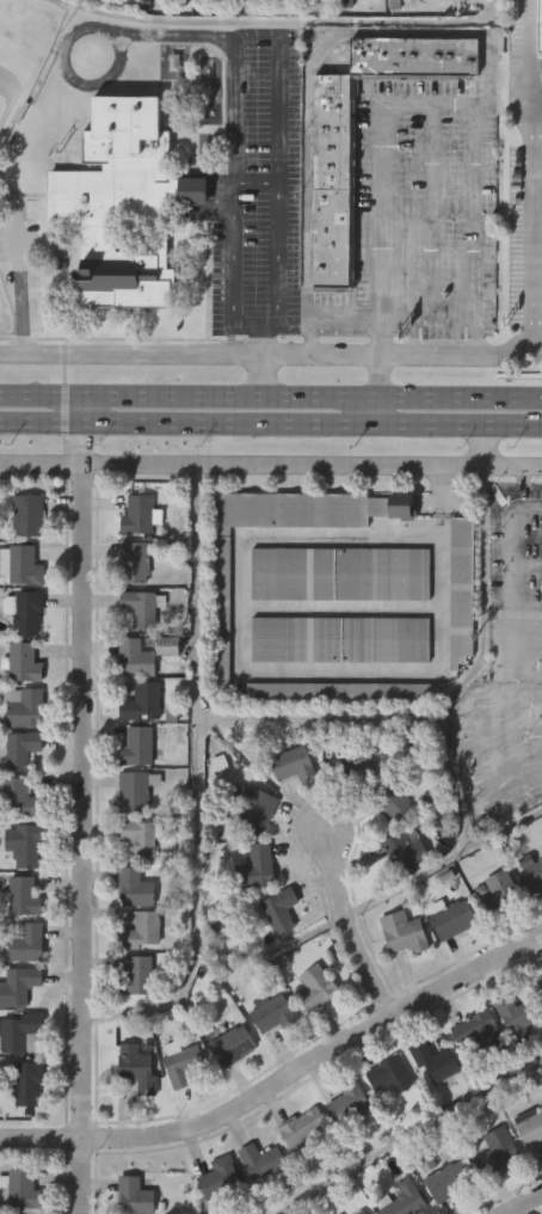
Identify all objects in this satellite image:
building: (412, 2)
building: (68, 4)
building: (347, 4)
building: (451, 7)
building: (111, 16)
building: (304, 16)
building: (162, 19)
road: (284, 19)
building: (207, 20)
building: (255, 20)
building: (541, 24)
road: (78, 29)
building: (349, 30)
road: (255, 31)
building: (409, 32)
road: (175, 33)
park: (23, 51)
road: (526, 59)
road: (472, 108)
building: (333, 182)
building: (124, 201)
road: (426, 204)
road: (277, 226)
building: (328, 233)
road: (535, 238)
building: (186, 239)
road: (233, 250)
road: (19, 276)
park: (6, 309)
road: (346, 320)
road: (247, 323)
road: (287, 323)
road: (473, 333)
road: (261, 341)
road: (271, 360)
road: (261, 376)
road: (378, 390)
road: (43, 393)
road: (314, 393)
road: (271, 421)
road: (478, 444)
road: (271, 466)
building: (30, 514)
building: (138, 516)
building: (135, 562)
building: (21, 565)
building: (341, 574)
building: (463, 590)
building: (224, 606)
building: (143, 607)
building: (24, 609)
building: (129, 611)
building: (456, 638)
road: (513, 638)
building: (341, 639)
building: (541, 640)
building: (142, 652)
building: (216, 657)
building: (23, 662)
building: (347, 691)
building: (162, 694)
building: (142, 701)
building: (24, 706)
building: (129, 707)
road: (386, 715)
building: (339, 738)
building: (141, 746)
building: (20, 748)
building: (294, 764)
building: (352, 766)
road: (196, 781)
building: (137, 791)
building: (21, 798)
building: (394, 801)
road: (86, 803)
building: (255, 808)
building: (288, 813)
building: (347, 814)
building: (141, 838)
building: (26, 845)
building: (407, 850)
building: (388, 851)
road: (444, 865)
building: (254, 869)
building: (534, 877)
building: (136, 888)
building: (501, 894)
building: (24, 896)
building: (400, 897)
building: (282, 911)
building: (251, 915)
building: (456, 918)
building: (528, 920)
road: (350, 926)
building: (140, 930)
building: (405, 933)
building: (491, 940)
building: (27, 944)
road: (273, 951)
building: (275, 957)
building: (448, 967)
building: (140, 977)
building: (398, 981)
building: (541, 981)
building: (20, 983)
building: (318, 988)
building: (270, 1011)
building: (517, 1017)
building: (133, 1024)
building: (20, 1031)
building: (480, 1031)
building: (538, 1031)
building: (310, 1036)
building: (233, 1046)
building: (265, 1060)
building: (437, 1060)
building: (507, 1062)
building: (183, 1063)
building: (138, 1067)
building: (392, 1074)
building: (472, 1078)
road: (282, 1079)
building: (29, 1081)
building: (227, 1093)
building: (350, 1102)
building: (430, 1109)
building: (177, 1111)
building: (131, 1117)
building: (384, 1123)
building: (531, 1126)
building: (304, 1128)
building: (21, 1132)
road: (412, 1135)
building: (343, 1151)
building: (499, 1151)
building: (263, 1159)
building: (526, 1173)
building: (297, 1175)
building: (221, 1177)
building: (449, 1181)
building: (25, 1185)
building: (135, 1196)
building: (492, 1197)
building: (408, 1200)
building: (255, 1204)
road: (526, 1204)
building: (217, 1209)
building: (361, 1212)
building: (450, 1212)
building: (340, 1213)

